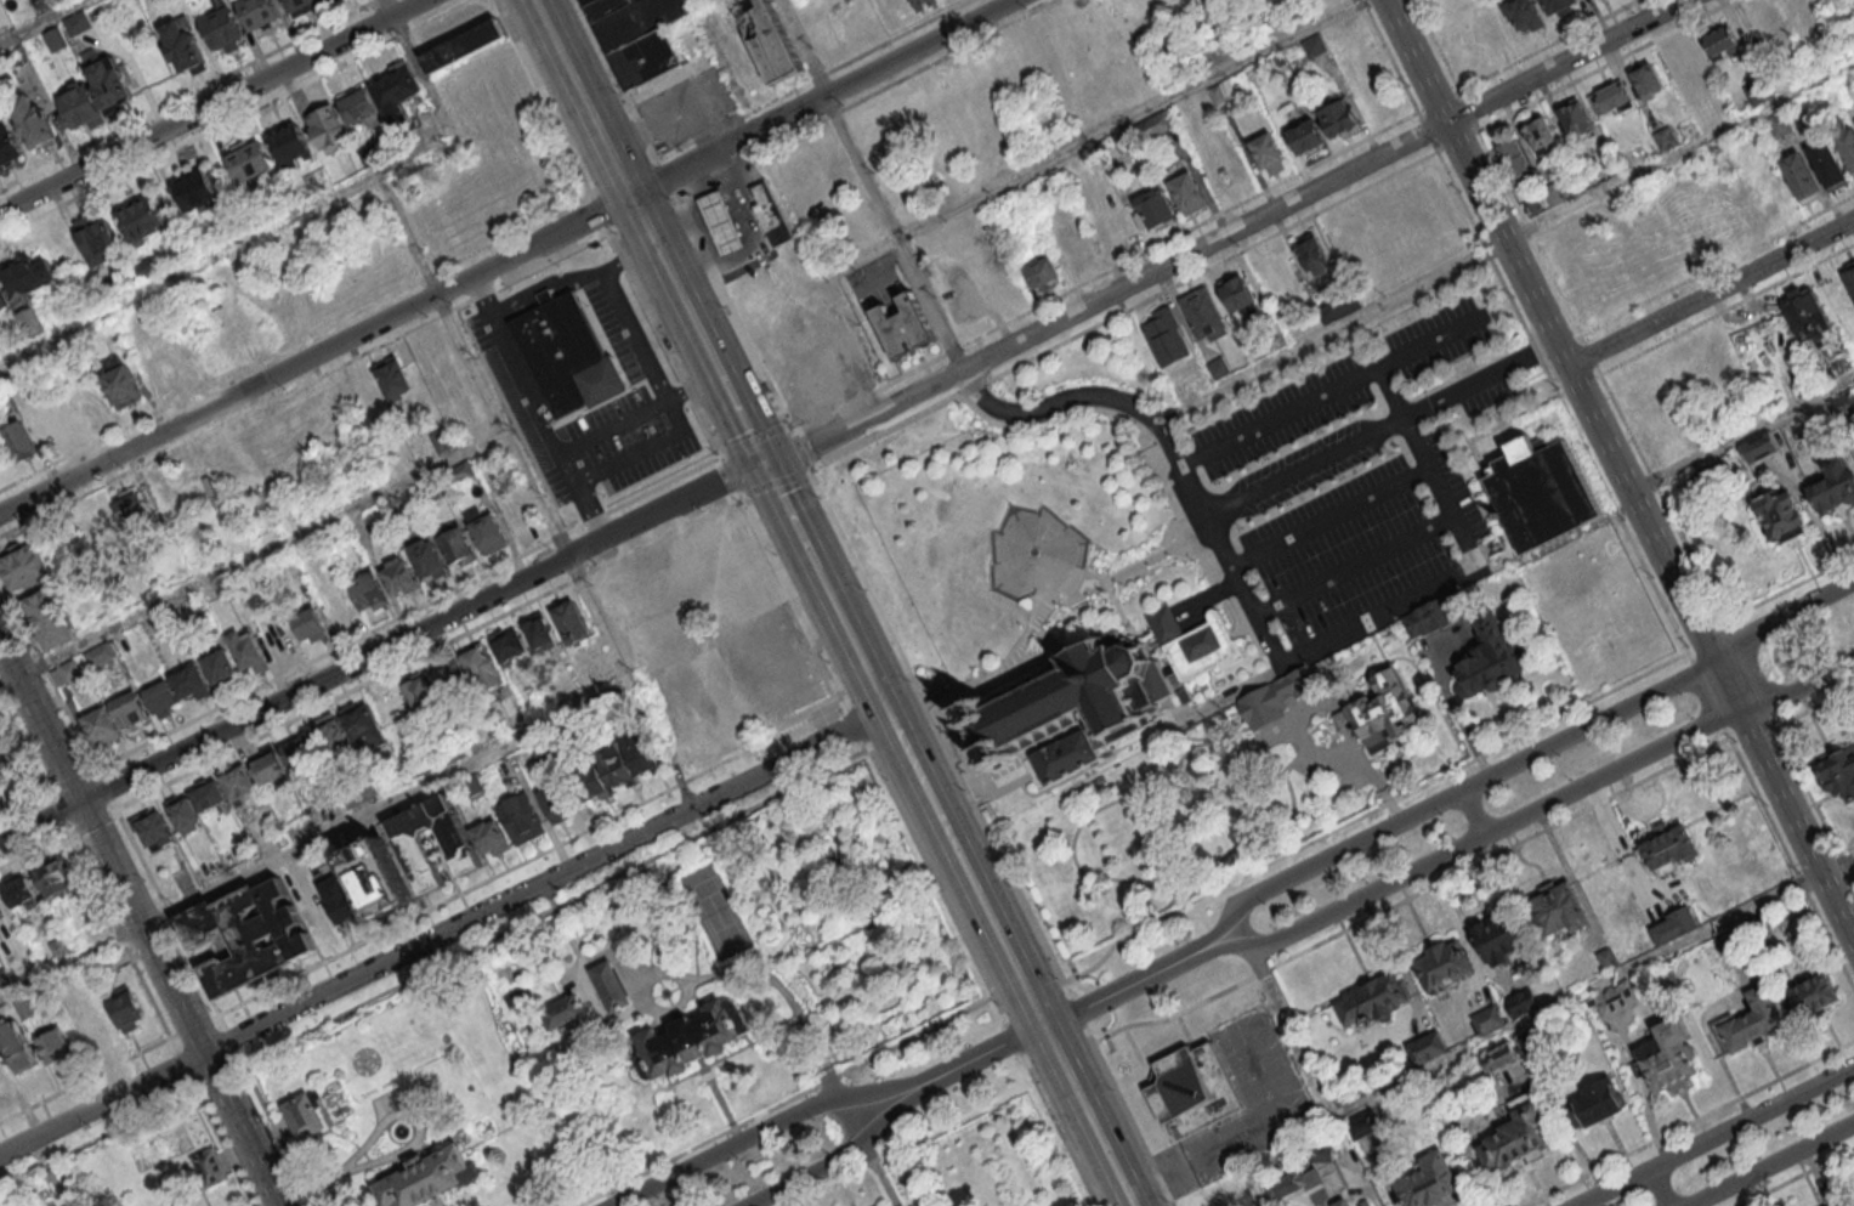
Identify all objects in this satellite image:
building: (1589, 0)
parking lot: (633, 1)
building: (915, 1)
building: (589, 2)
building: (1174, 5)
building: (300, 6)
building: (1557, 6)
building: (1799, 6)
building: (605, 7)
building: (259, 13)
building: (1524, 13)
building: (1762, 18)
road: (42, 21)
building: (637, 21)
building: (76, 22)
building: (221, 26)
building: (1485, 30)
building: (55, 38)
building: (1719, 40)
building: (463, 43)
building: (1312, 45)
building: (183, 47)
building: (776, 56)
road: (1389, 56)
building: (643, 58)
building: (1684, 60)
road: (1413, 61)
road: (1563, 61)
road: (419, 66)
building: (109, 79)
road: (614, 79)
building: (1646, 80)
building: (396, 87)
road: (188, 94)
building: (1217, 94)
road: (542, 96)
road: (820, 96)
building: (1609, 97)
parking lot: (681, 102)
road: (209, 103)
building: (78, 106)
building: (361, 107)
road: (233, 118)
road: (1128, 118)
building: (1339, 118)
building: (1575, 118)
building: (33, 120)
building: (1158, 121)
building: (1778, 123)
building: (327, 128)
building: (1305, 136)
building: (1663, 136)
building: (1542, 137)
building: (1844, 138)
building: (289, 143)
building: (7, 146)
building: (1268, 152)
building: (372, 154)
building: (1633, 154)
road: (612, 155)
building: (249, 158)
building: (1514, 160)
building: (1827, 164)
building: (1801, 175)
road: (663, 177)
road: (869, 183)
building: (194, 189)
building: (1186, 192)
building: (1554, 192)
building: (1768, 193)
building: (1530, 204)
building: (1152, 206)
road: (599, 211)
building: (260, 213)
building: (770, 214)
parking lot: (730, 216)
building: (143, 217)
building: (722, 221)
building: (95, 236)
road: (1506, 243)
road: (226, 248)
road: (625, 254)
building: (1311, 254)
building: (146, 267)
road: (1211, 268)
building: (1042, 272)
road: (1104, 272)
building: (1848, 278)
parking lot: (873, 281)
building: (28, 288)
road: (1710, 291)
building: (1238, 294)
road: (1106, 295)
building: (2, 300)
building: (1338, 305)
building: (1202, 312)
road: (731, 313)
building: (1804, 317)
building: (905, 327)
road: (701, 333)
building: (1163, 336)
road: (633, 340)
road: (664, 342)
road: (1431, 344)
road: (316, 352)
building: (571, 353)
road: (472, 366)
building: (392, 378)
building: (119, 380)
road: (1478, 380)
parking lot: (582, 381)
road: (304, 384)
road: (971, 389)
road: (1578, 391)
building: (1838, 402)
road: (1561, 403)
road: (1304, 407)
road: (738, 408)
road: (532, 409)
road: (637, 412)
road: (1128, 419)
building: (45, 425)
road: (884, 432)
road: (1741, 436)
building: (17, 440)
building: (440, 440)
road: (753, 440)
building: (1758, 447)
road: (80, 451)
road: (800, 451)
traffic signals: (766, 464)
building: (460, 471)
road: (730, 475)
road: (725, 479)
road: (775, 483)
building: (1831, 485)
parking lot: (1342, 492)
building: (1542, 492)
building: (132, 504)
road: (786, 504)
building: (1780, 514)
building: (486, 530)
building: (458, 545)
road: (251, 556)
building: (426, 559)
road: (813, 560)
road: (1161, 560)
road: (1354, 564)
building: (23, 565)
building: (399, 576)
building: (370, 590)
building: (341, 610)
road: (408, 612)
road: (1255, 613)
road: (1780, 615)
building: (1433, 616)
building: (49, 617)
building: (572, 621)
building: (308, 623)
building: (538, 630)
road: (855, 642)
building: (508, 645)
building: (1196, 645)
building: (245, 650)
building: (101, 652)
building: (1486, 657)
building: (219, 664)
road: (344, 666)
building: (482, 667)
building: (66, 672)
road: (47, 673)
building: (449, 676)
building: (189, 680)
road: (1725, 685)
road: (1796, 685)
building: (419, 690)
building: (1275, 696)
building: (161, 697)
building: (1075, 706)
road: (318, 707)
building: (129, 708)
building: (1382, 712)
road: (1345, 719)
building: (363, 723)
building: (101, 725)
building: (330, 732)
road: (939, 735)
road: (1298, 737)
road: (1141, 738)
road: (1274, 740)
road: (1208, 741)
road: (23, 746)
building: (300, 751)
building: (639, 752)
road: (872, 759)
building: (614, 763)
building: (268, 764)
building: (1838, 772)
road: (447, 775)
road: (1370, 775)
building: (2, 777)
building: (594, 778)
road: (72, 781)
building: (238, 782)
building: (471, 783)
road: (107, 788)
road: (1009, 788)
road: (1455, 793)
building: (208, 794)
building: (556, 799)
road: (23, 805)
road: (1370, 811)
road: (1469, 813)
road: (57, 814)
building: (183, 814)
building: (520, 816)
road: (91, 821)
road: (1795, 826)
building: (153, 830)
road: (1478, 834)
building: (489, 838)
building: (458, 844)
building: (1667, 847)
road: (34, 850)
road: (531, 859)
road: (1791, 865)
building: (57, 876)
building: (376, 877)
road: (545, 881)
road: (1156, 888)
building: (22, 891)
road: (1412, 899)
building: (339, 900)
road: (556, 907)
building: (1558, 907)
building: (5, 913)
building: (284, 918)
road: (141, 923)
building: (1673, 924)
building: (1754, 925)
building: (1495, 939)
building: (248, 941)
road: (123, 944)
road: (1011, 957)
building: (1606, 957)
road: (70, 961)
building: (1441, 964)
road: (733, 974)
road: (1132, 985)
building: (613, 986)
building: (1810, 991)
building: (1615, 996)
building: (1373, 997)
building: (520, 998)
building: (1520, 1000)
building: (126, 1010)
building: (565, 1012)
road: (658, 1012)
road: (1078, 1012)
building: (87, 1013)
building: (1486, 1019)
building: (1748, 1021)
road: (1509, 1034)
road: (1014, 1037)
building: (692, 1038)
road: (232, 1041)
building: (53, 1043)
building: (397, 1043)
building: (15, 1046)
building: (1425, 1047)
building: (1668, 1057)
road: (976, 1058)
building: (1493, 1059)
road: (183, 1065)
road: (223, 1076)
road: (85, 1081)
building: (1192, 1089)
building: (1597, 1099)
road: (787, 1102)
road: (102, 1104)
parking lot: (1243, 1105)
building: (306, 1114)
road: (1127, 1116)
road: (418, 1122)
road: (1691, 1123)
road: (276, 1128)
road: (1059, 1128)
road: (755, 1133)
road: (1713, 1136)
building: (1519, 1137)
road: (102, 1138)
road: (221, 1142)
road: (911, 1144)
road: (834, 1160)
road: (1768, 1162)
building: (209, 1166)
road: (879, 1171)
building: (1311, 1173)
building: (427, 1177)
road: (1798, 1178)
road: (1365, 1180)
building: (1427, 1182)
road: (1657, 1187)
road: (321, 1188)
building: (1340, 1202)
building: (1361, 1202)

